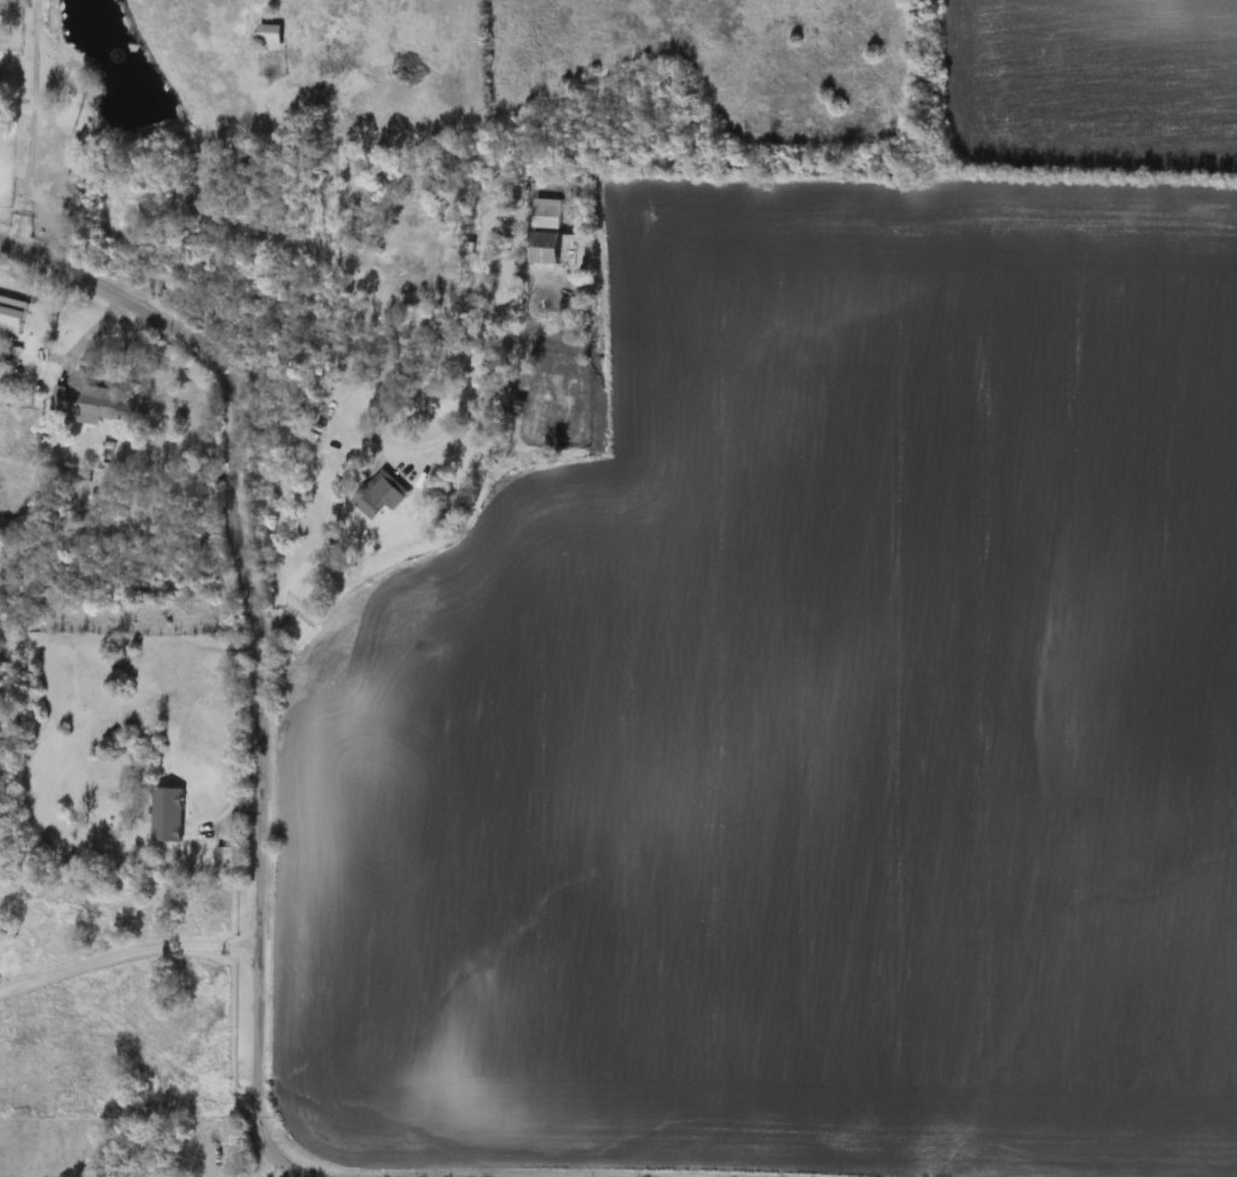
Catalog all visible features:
building: (272, 36)
road: (30, 123)
building: (5, 356)
building: (89, 404)
building: (370, 504)
road: (325, 523)
road: (261, 648)
building: (168, 816)
building: (226, 860)
road: (127, 952)
road: (268, 1170)

